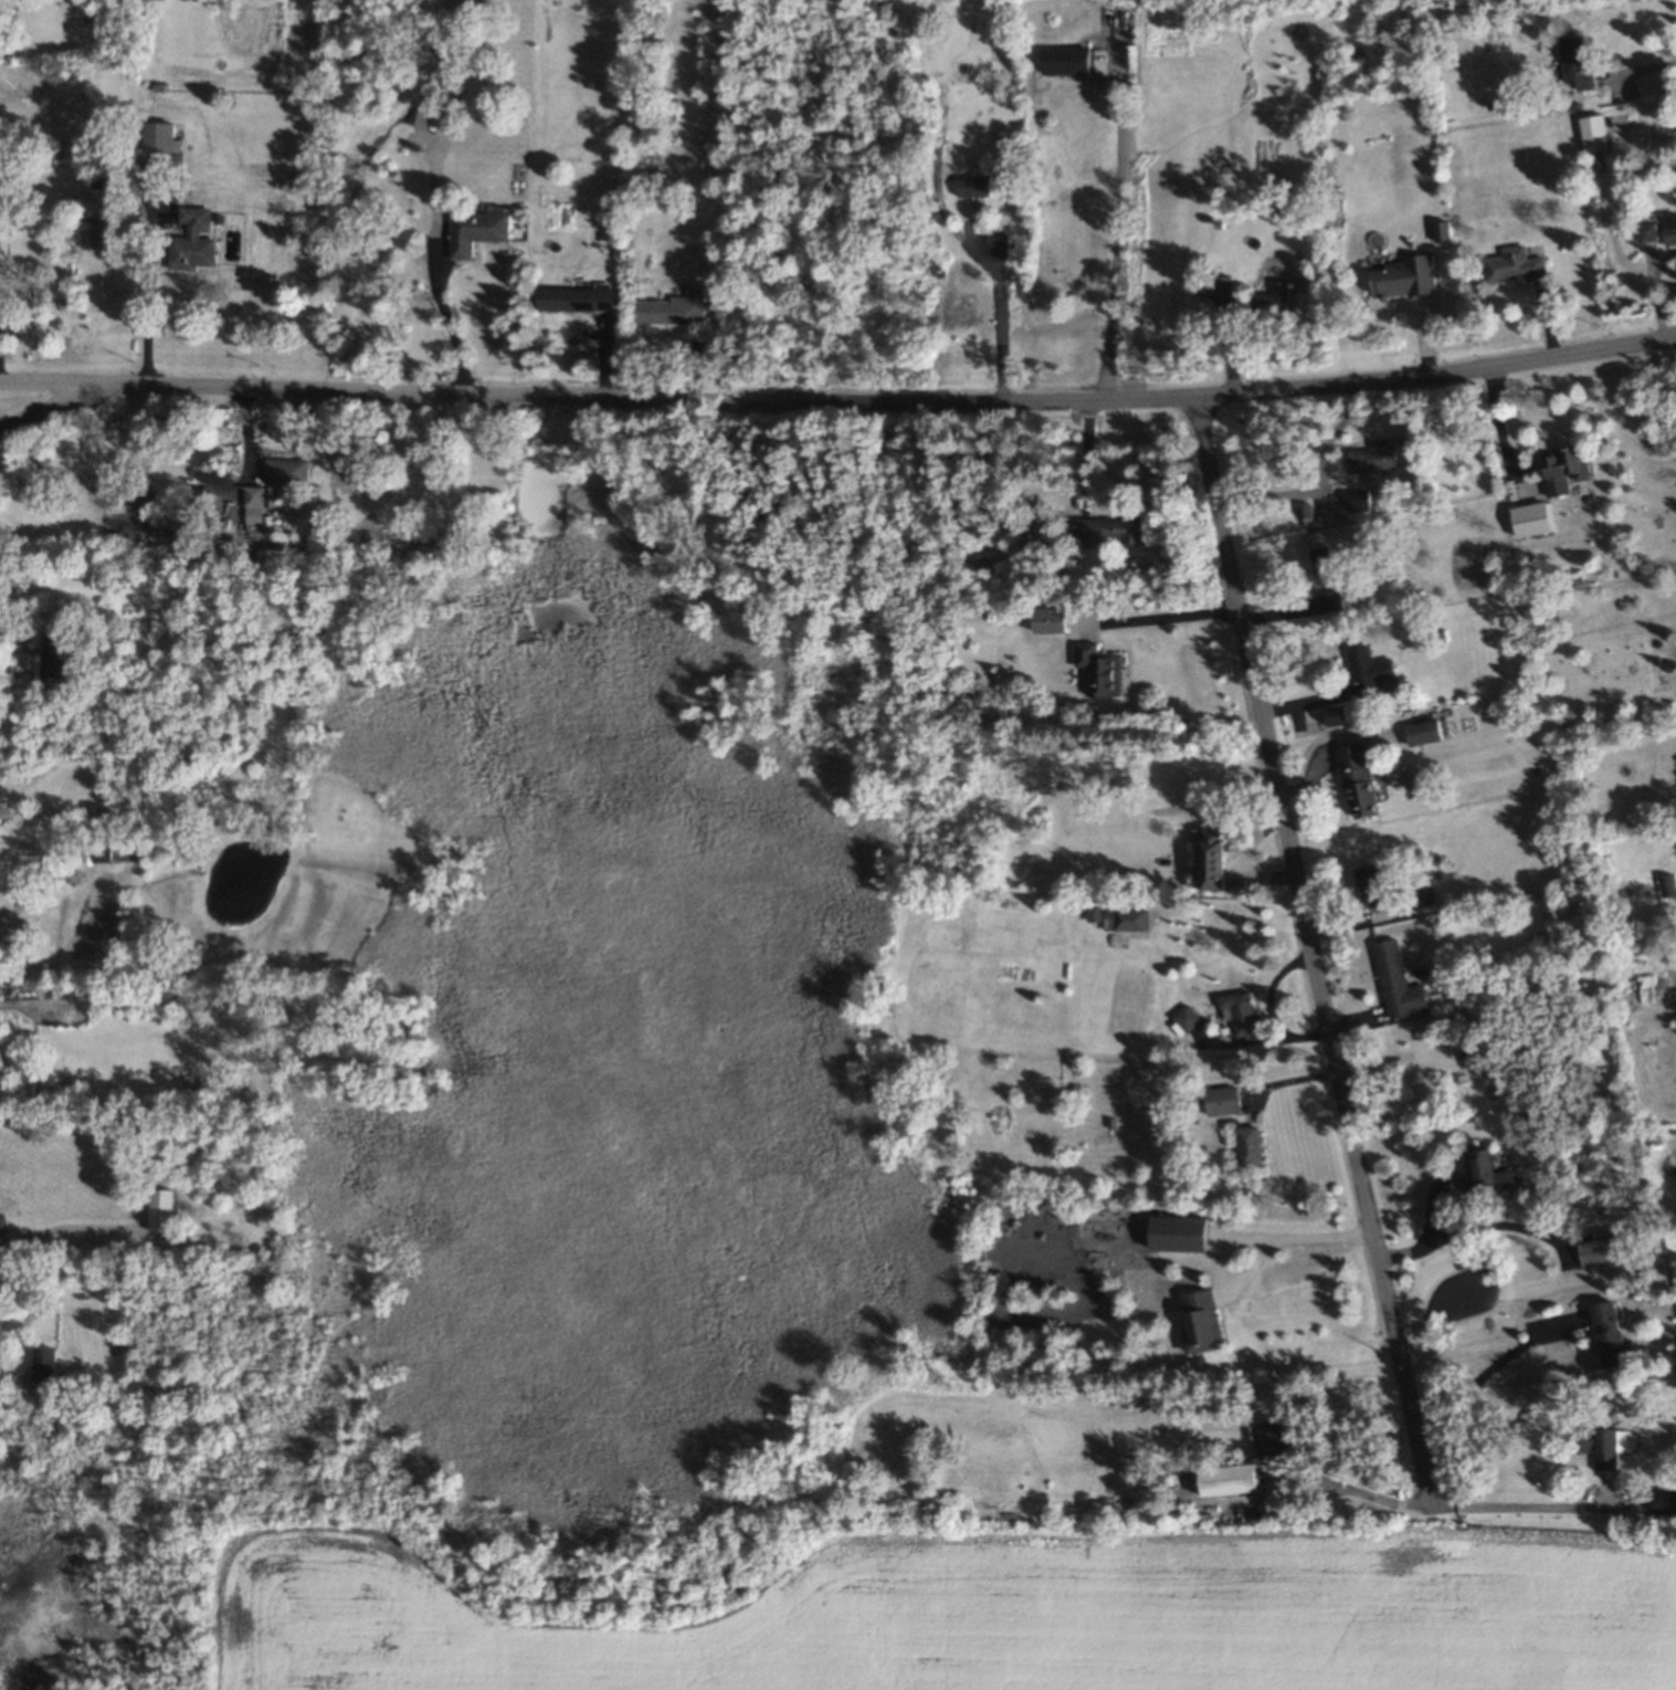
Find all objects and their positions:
building: (1066, 60)
building: (1577, 61)
road: (1642, 69)
building: (1595, 132)
building: (162, 137)
building: (976, 186)
building: (1670, 228)
building: (478, 230)
building: (1442, 230)
building: (1648, 231)
building: (193, 240)
road: (1116, 246)
building: (1517, 264)
building: (1408, 276)
building: (1222, 290)
building: (579, 297)
building: (1271, 302)
building: (677, 307)
building: (4, 311)
road: (144, 314)
road: (451, 321)
road: (1003, 326)
road: (56, 381)
road: (834, 398)
building: (1375, 455)
building: (1568, 465)
building: (291, 470)
road: (1324, 483)
building: (259, 508)
building: (1532, 519)
building: (1113, 527)
building: (1321, 560)
building: (1331, 597)
road: (1171, 615)
building: (1051, 619)
road: (4, 640)
building: (59, 653)
building: (1100, 669)
building: (1369, 669)
building: (1338, 713)
building: (1424, 728)
building: (1359, 776)
building: (102, 853)
building: (1215, 858)
building: (1669, 884)
building: (1371, 885)
building: (1095, 911)
building: (1126, 919)
road: (1316, 952)
building: (1400, 982)
building: (1243, 1010)
building: (1185, 1019)
building: (1223, 1100)
building: (1251, 1144)
building: (1484, 1172)
building: (165, 1209)
building: (1, 1221)
road: (66, 1225)
building: (1181, 1232)
road: (1307, 1237)
building: (1598, 1250)
building: (1203, 1321)
building: (1610, 1332)
road: (1494, 1361)
building: (46, 1364)
road: (6, 1378)
building: (1273, 1438)
building: (1600, 1445)
building: (1229, 1480)
road: (1364, 1493)
building: (1665, 1499)
road: (1519, 1507)
crop: (985, 1616)

